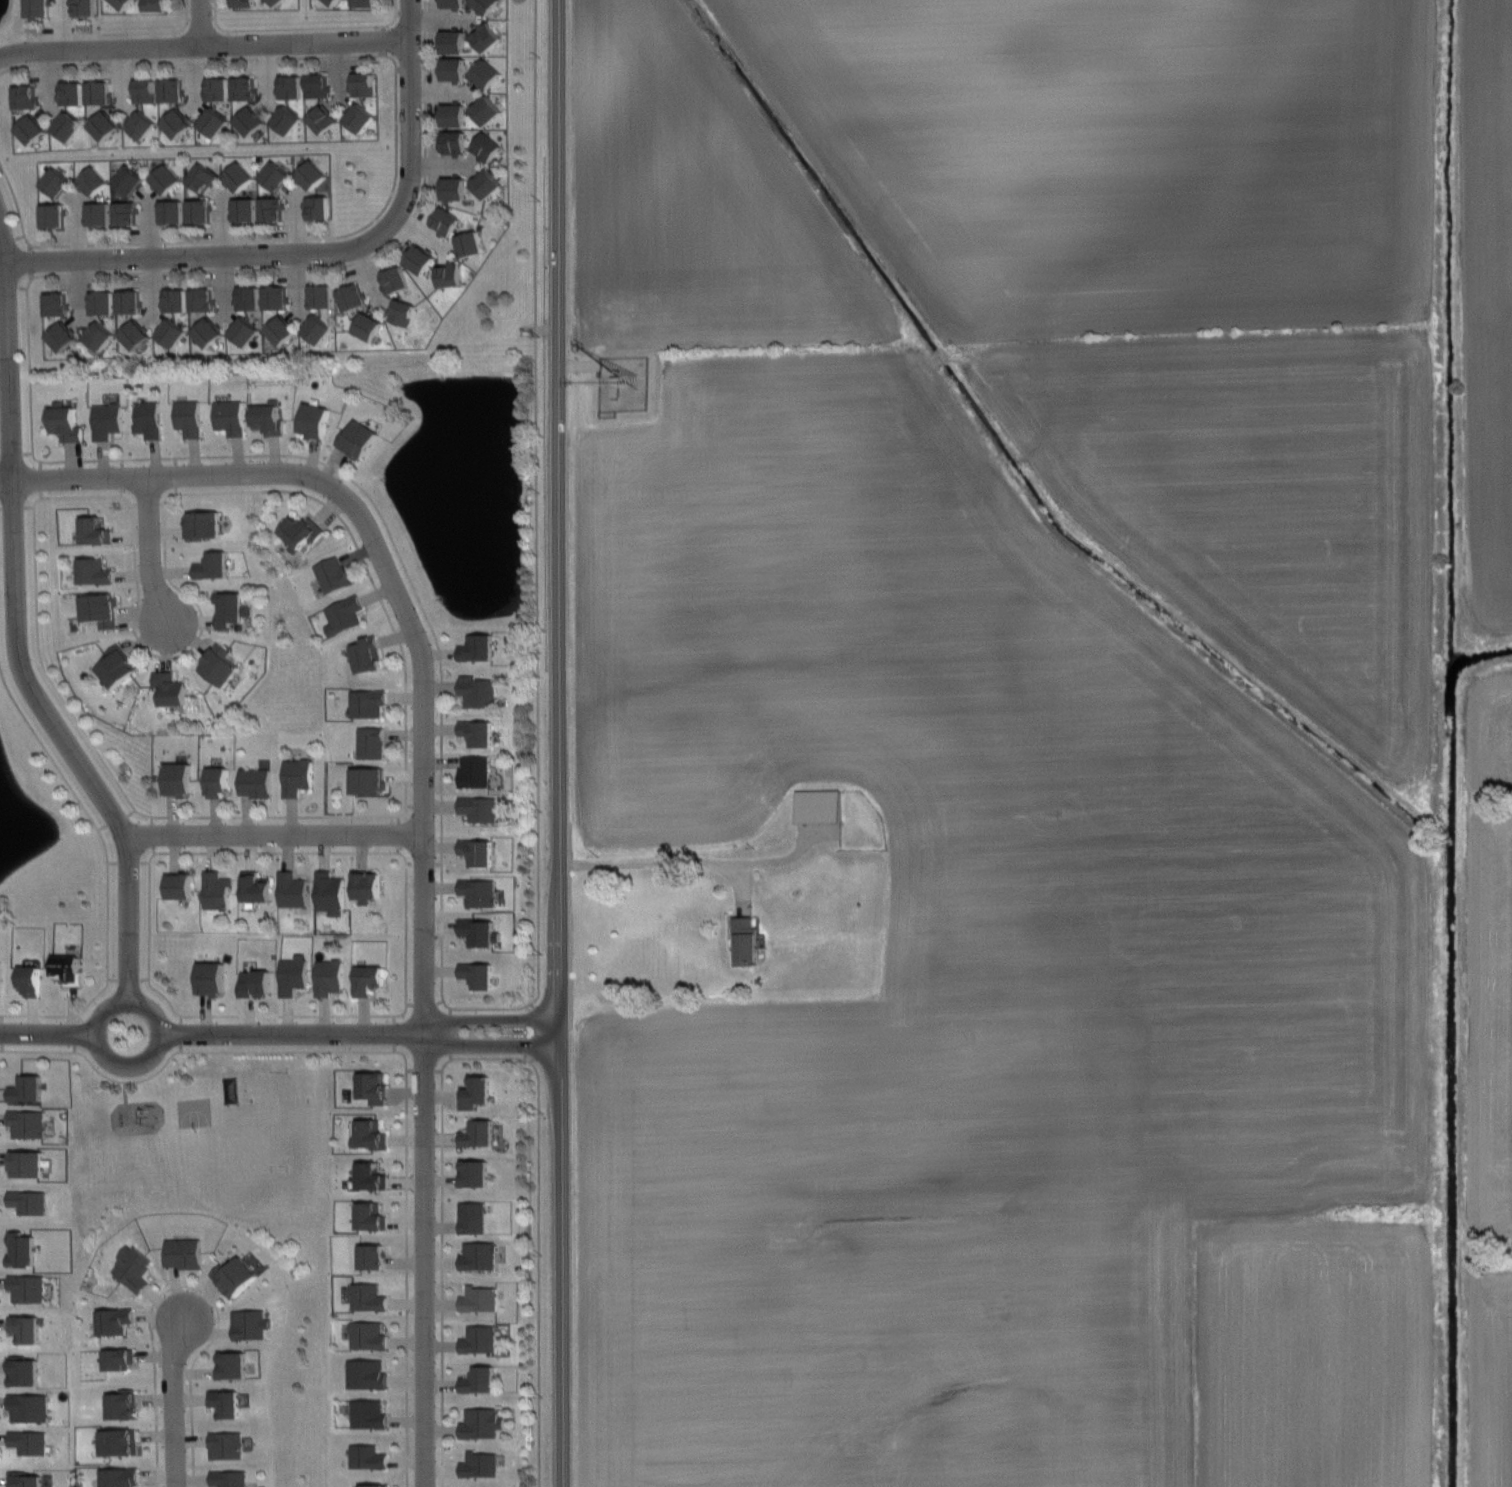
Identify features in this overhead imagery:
building: (275, 2)
building: (333, 2)
building: (124, 3)
building: (244, 3)
building: (366, 3)
building: (454, 4)
building: (156, 5)
building: (485, 5)
building: (38, 7)
building: (83, 7)
road: (206, 24)
road: (302, 27)
road: (118, 32)
building: (487, 37)
building: (454, 41)
road: (205, 47)
building: (454, 69)
building: (486, 74)
building: (363, 84)
building: (317, 85)
building: (290, 87)
building: (245, 88)
building: (217, 89)
building: (172, 90)
building: (145, 91)
building: (71, 92)
building: (98, 93)
building: (25, 97)
building: (487, 110)
road: (413, 113)
building: (454, 114)
building: (360, 117)
building: (323, 118)
building: (287, 119)
building: (249, 121)
building: (178, 122)
building: (213, 122)
building: (104, 125)
building: (141, 125)
building: (67, 127)
building: (30, 129)
building: (454, 142)
building: (487, 147)
road: (395, 161)
building: (313, 174)
building: (238, 175)
building: (276, 175)
building: (203, 178)
building: (166, 179)
building: (92, 180)
building: (129, 180)
building: (57, 182)
building: (487, 183)
building: (454, 188)
building: (318, 207)
building: (272, 208)
building: (245, 209)
building: (199, 210)
building: (171, 211)
building: (126, 212)
building: (98, 213)
building: (54, 214)
building: (445, 222)
building: (470, 244)
road: (199, 256)
building: (420, 259)
building: (450, 274)
building: (393, 280)
building: (321, 295)
building: (276, 297)
building: (352, 297)
building: (249, 298)
building: (202, 299)
building: (175, 300)
building: (130, 301)
building: (102, 302)
building: (57, 304)
building: (402, 312)
building: (368, 325)
building: (281, 329)
building: (317, 329)
building: (245, 331)
building: (171, 332)
building: (208, 332)
building: (135, 334)
building: (63, 336)
building: (98, 337)
building: (615, 386)
building: (230, 416)
building: (189, 418)
building: (269, 418)
building: (148, 419)
building: (107, 420)
building: (314, 421)
building: (66, 424)
building: (359, 439)
road: (114, 458)
road: (179, 479)
road: (535, 501)
building: (203, 524)
building: (94, 531)
building: (301, 532)
road: (146, 553)
building: (212, 565)
building: (95, 572)
building: (332, 575)
building: (100, 609)
building: (231, 609)
building: (344, 615)
road: (15, 629)
road: (395, 633)
building: (477, 648)
building: (366, 655)
building: (119, 665)
building: (220, 666)
building: (169, 688)
building: (479, 691)
building: (367, 702)
building: (478, 732)
building: (371, 742)
crop: (1042, 742)
road: (556, 743)
building: (474, 771)
building: (296, 776)
building: (178, 779)
building: (367, 780)
building: (217, 781)
building: (255, 782)
building: (821, 806)
building: (479, 808)
road: (274, 835)
building: (477, 852)
road: (647, 862)
road: (107, 873)
road: (406, 883)
building: (179, 885)
building: (256, 886)
building: (366, 886)
building: (292, 889)
building: (217, 890)
building: (480, 890)
building: (329, 893)
building: (479, 932)
building: (749, 942)
building: (68, 969)
building: (0, 971)
building: (478, 973)
building: (293, 974)
building: (329, 976)
building: (211, 977)
building: (30, 979)
building: (368, 979)
building: (254, 982)
road: (423, 986)
road: (487, 1021)
road: (292, 1034)
road: (161, 1035)
road: (47, 1036)
road: (486, 1048)
road: (78, 1053)
building: (374, 1084)
building: (30, 1090)
building: (235, 1091)
building: (478, 1093)
park: (199, 1111)
building: (29, 1124)
road: (409, 1128)
building: (481, 1133)
building: (372, 1135)
park: (207, 1143)
building: (29, 1165)
building: (478, 1175)
building: (372, 1177)
building: (31, 1204)
building: (372, 1216)
building: (476, 1216)
road: (445, 1232)
building: (24, 1250)
building: (187, 1253)
building: (373, 1257)
building: (482, 1257)
building: (136, 1266)
road: (542, 1271)
building: (238, 1277)
road: (192, 1285)
building: (30, 1289)
building: (371, 1297)
building: (482, 1300)
building: (117, 1321)
building: (252, 1325)
building: (28, 1329)
building: (370, 1335)
building: (483, 1339)
building: (120, 1359)
building: (235, 1365)
building: (26, 1371)
building: (369, 1374)
building: (482, 1381)
road: (173, 1400)
building: (230, 1404)
building: (123, 1405)
building: (32, 1407)
building: (370, 1413)
building: (486, 1424)
building: (32, 1442)
building: (120, 1442)
building: (230, 1446)
building: (370, 1457)
building: (483, 1466)
building: (121, 1476)
building: (232, 1478)
building: (27, 1479)
building: (375, 1486)

